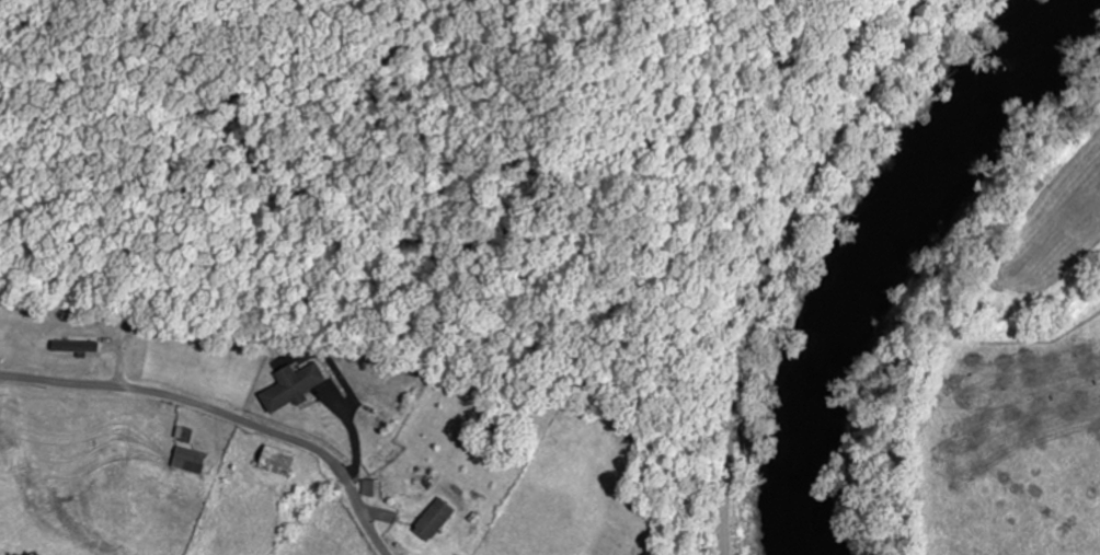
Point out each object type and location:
river: (834, 247)
road: (769, 259)
building: (289, 388)
road: (224, 415)
building: (188, 461)
building: (274, 462)
building: (369, 489)
building: (432, 521)

